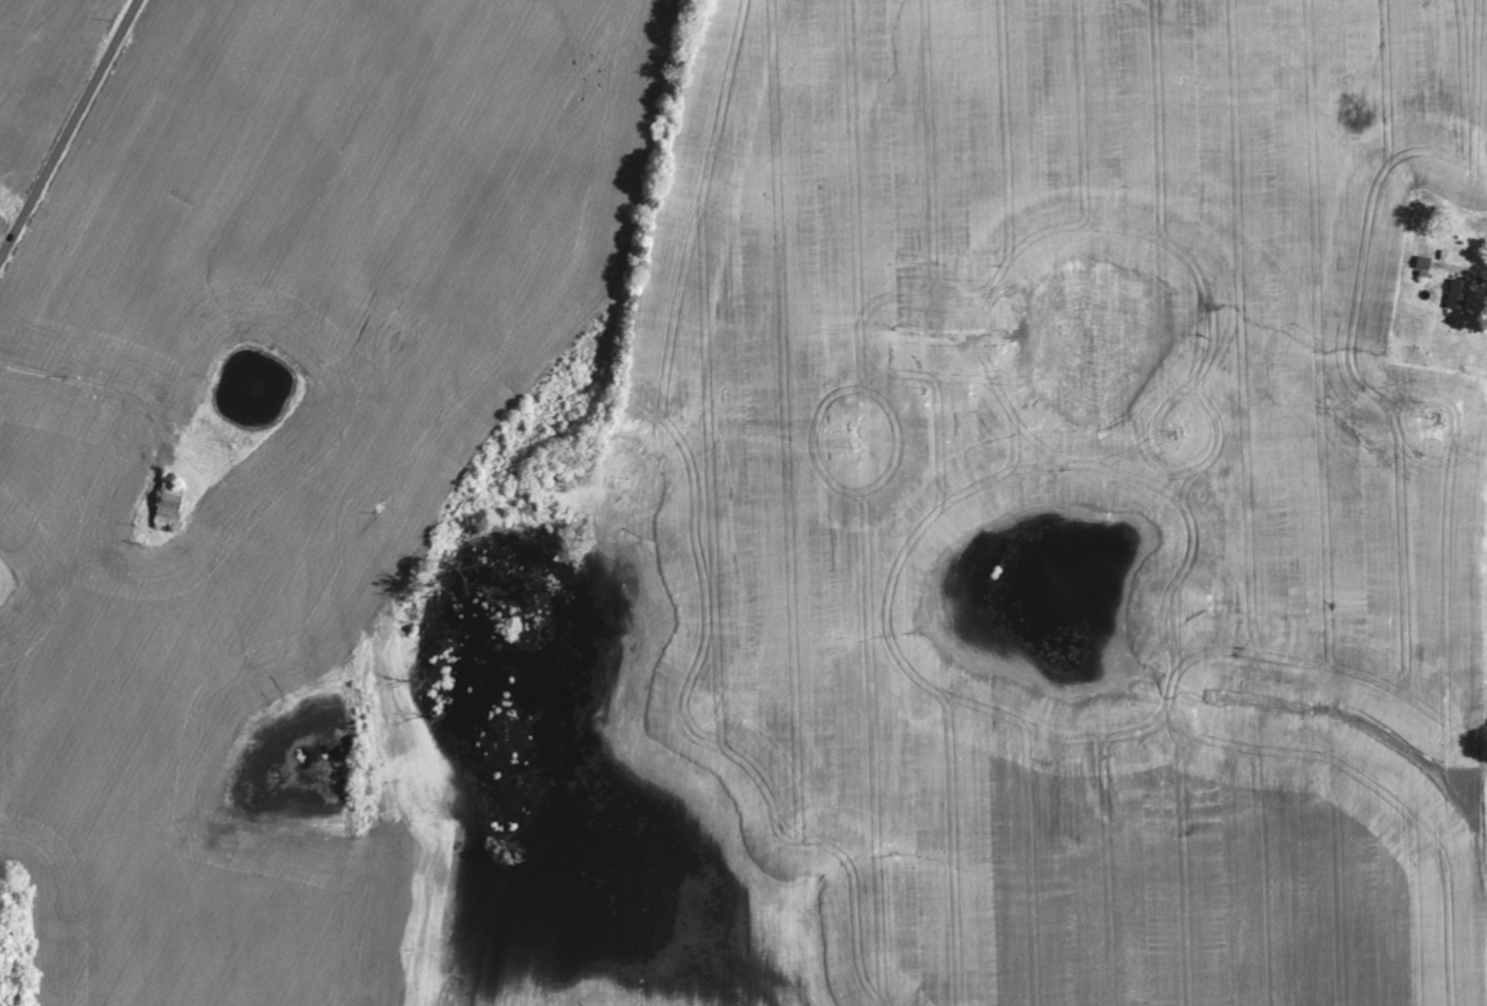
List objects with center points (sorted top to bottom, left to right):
road: (70, 133)
building: (1455, 296)

